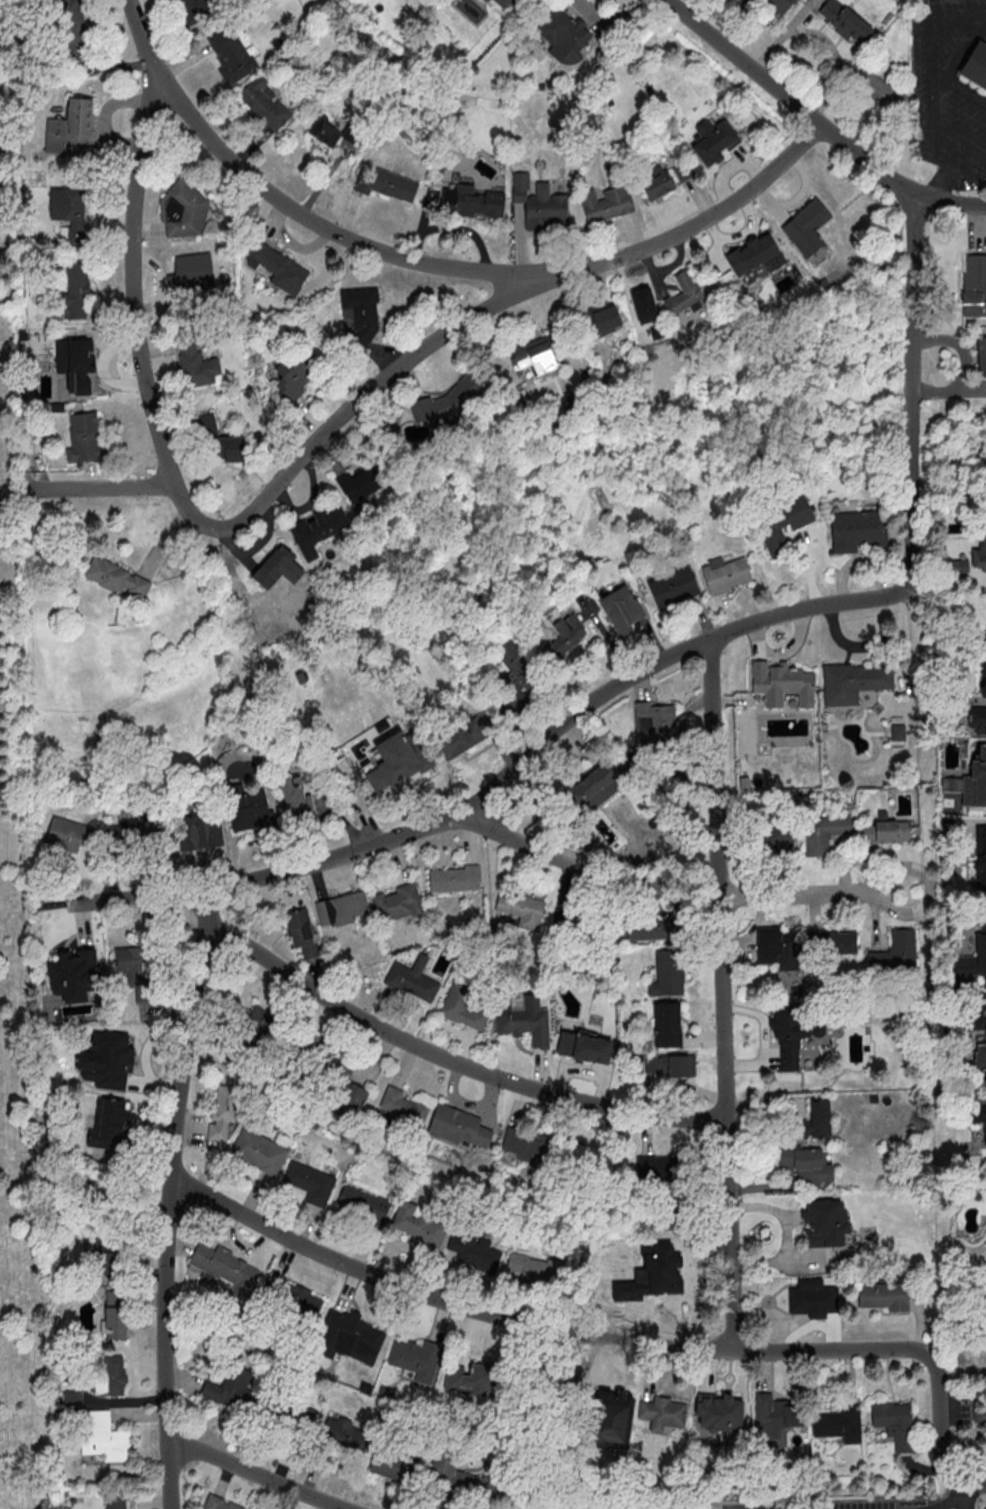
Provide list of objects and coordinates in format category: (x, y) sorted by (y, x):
building: (487, 0)
building: (503, 3)
building: (780, 5)
building: (194, 8)
building: (845, 21)
building: (73, 29)
building: (563, 36)
building: (230, 53)
building: (976, 64)
road: (931, 73)
road: (959, 85)
road: (786, 99)
building: (265, 104)
building: (70, 129)
building: (328, 131)
building: (713, 140)
road: (970, 159)
road: (765, 175)
building: (658, 182)
road: (947, 182)
building: (387, 185)
road: (926, 197)
building: (471, 202)
building: (606, 202)
road: (962, 205)
building: (542, 207)
building: (69, 210)
building: (184, 211)
road: (298, 215)
building: (807, 229)
building: (753, 256)
road: (129, 267)
building: (277, 267)
building: (191, 274)
building: (974, 285)
building: (76, 292)
building: (683, 294)
building: (644, 307)
building: (360, 317)
building: (601, 319)
building: (981, 356)
road: (411, 357)
building: (534, 358)
building: (196, 364)
building: (79, 366)
park: (7, 374)
building: (293, 376)
road: (909, 388)
building: (84, 436)
building: (221, 439)
building: (361, 484)
road: (104, 488)
building: (783, 524)
building: (318, 530)
building: (858, 531)
building: (984, 541)
building: (273, 566)
building: (726, 574)
building: (115, 577)
building: (673, 586)
building: (620, 607)
building: (566, 636)
building: (515, 676)
building: (984, 679)
building: (853, 682)
building: (782, 683)
building: (977, 719)
building: (657, 722)
building: (462, 738)
building: (398, 760)
road: (501, 778)
building: (975, 781)
building: (593, 790)
building: (295, 798)
building: (247, 808)
building: (197, 830)
building: (68, 833)
building: (823, 833)
building: (888, 833)
building: (775, 837)
building: (133, 839)
building: (980, 858)
road: (583, 866)
building: (455, 879)
road: (870, 889)
building: (398, 902)
building: (342, 908)
building: (521, 908)
road: (205, 912)
building: (579, 922)
building: (650, 928)
building: (301, 933)
building: (832, 942)
building: (779, 949)
building: (895, 952)
building: (972, 960)
building: (135, 970)
building: (668, 973)
building: (71, 974)
building: (412, 979)
road: (719, 995)
building: (462, 1006)
road: (971, 1014)
building: (524, 1024)
building: (255, 1025)
building: (667, 1028)
building: (787, 1030)
building: (985, 1043)
building: (583, 1046)
building: (109, 1049)
building: (980, 1058)
road: (451, 1061)
building: (669, 1065)
building: (342, 1085)
building: (403, 1111)
building: (221, 1115)
building: (976, 1115)
building: (814, 1121)
building: (110, 1122)
building: (458, 1126)
building: (523, 1145)
building: (259, 1151)
building: (589, 1159)
building: (805, 1164)
building: (663, 1169)
building: (310, 1182)
park: (20, 1196)
building: (365, 1204)
road: (167, 1221)
building: (825, 1223)
building: (418, 1225)
building: (474, 1248)
building: (106, 1255)
building: (536, 1270)
building: (227, 1272)
building: (292, 1296)
building: (814, 1296)
building: (882, 1296)
building: (114, 1323)
road: (537, 1326)
building: (348, 1338)
building: (417, 1358)
building: (110, 1377)
building: (468, 1380)
building: (539, 1387)
building: (231, 1389)
building: (73, 1398)
building: (603, 1410)
building: (662, 1413)
building: (719, 1413)
building: (979, 1415)
building: (286, 1419)
building: (775, 1420)
building: (895, 1423)
building: (839, 1424)
road: (943, 1435)
building: (105, 1437)
building: (343, 1439)
building: (395, 1466)
road: (252, 1475)
building: (465, 1480)
road: (973, 1483)
building: (116, 1503)
building: (219, 1503)
road: (951, 1505)

